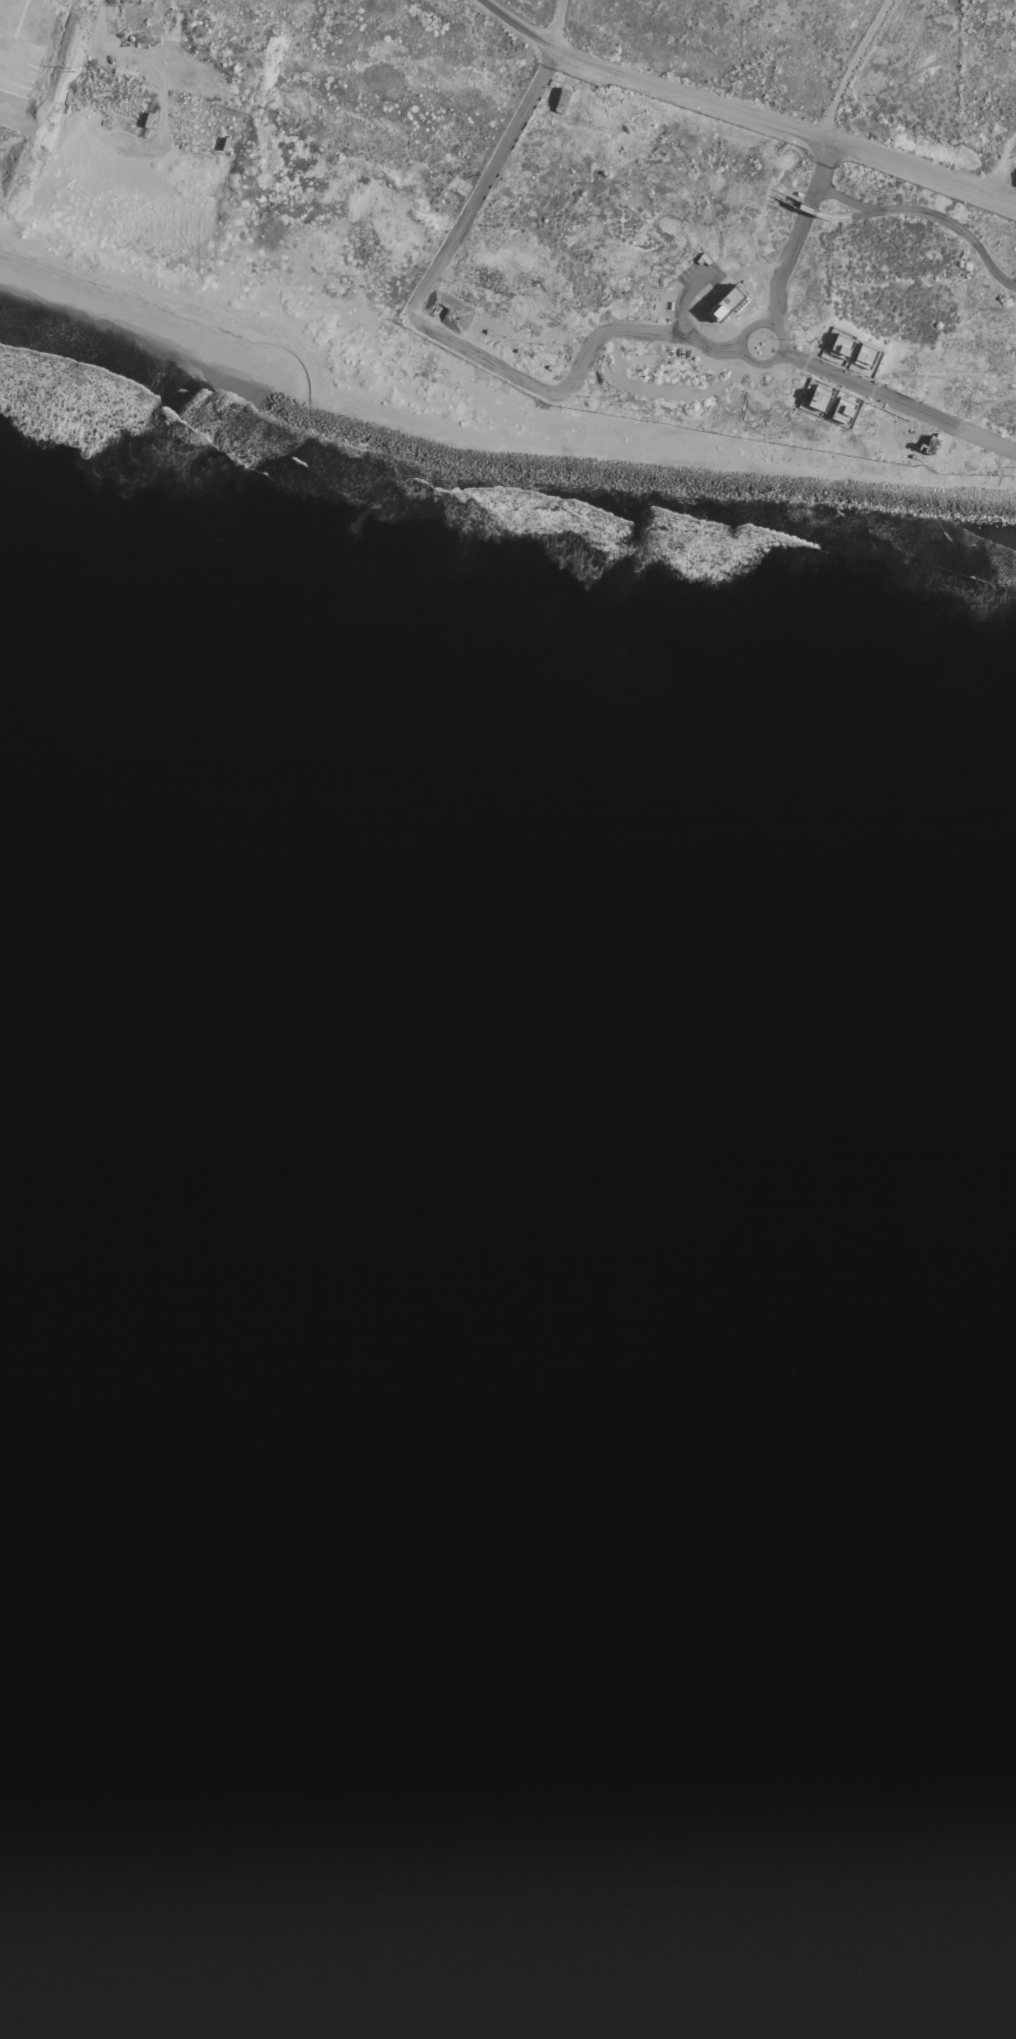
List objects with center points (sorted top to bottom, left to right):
road: (742, 114)
road: (815, 173)
building: (1012, 173)
road: (921, 216)
road: (451, 239)
building: (721, 297)
airport: (541, 309)
road: (599, 339)
road: (707, 344)
road: (848, 388)
road: (983, 435)

